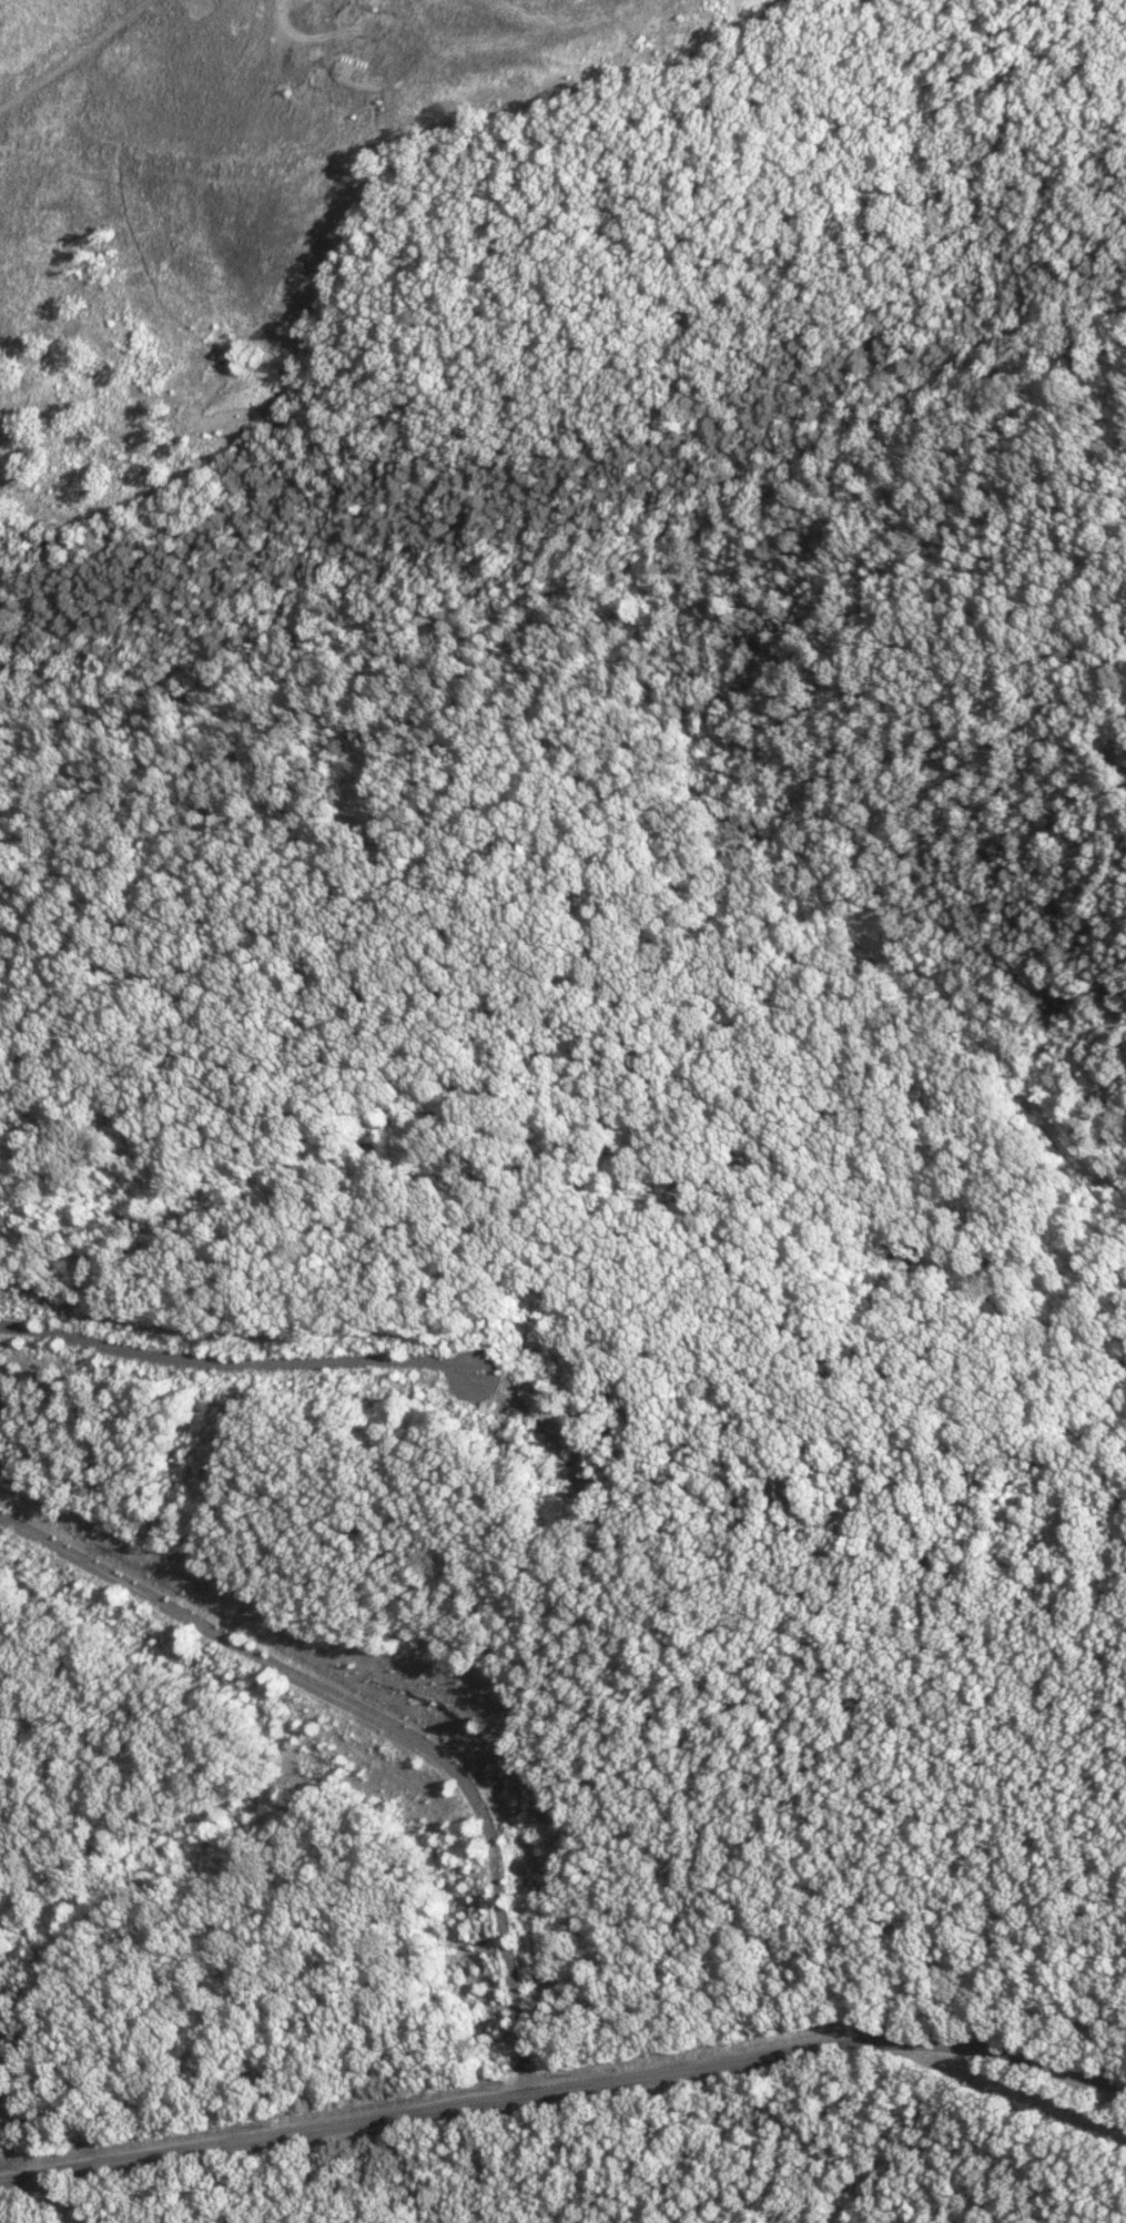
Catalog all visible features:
road: (349, 1702)
road: (525, 2060)
road: (565, 2089)
road: (72, 2195)

